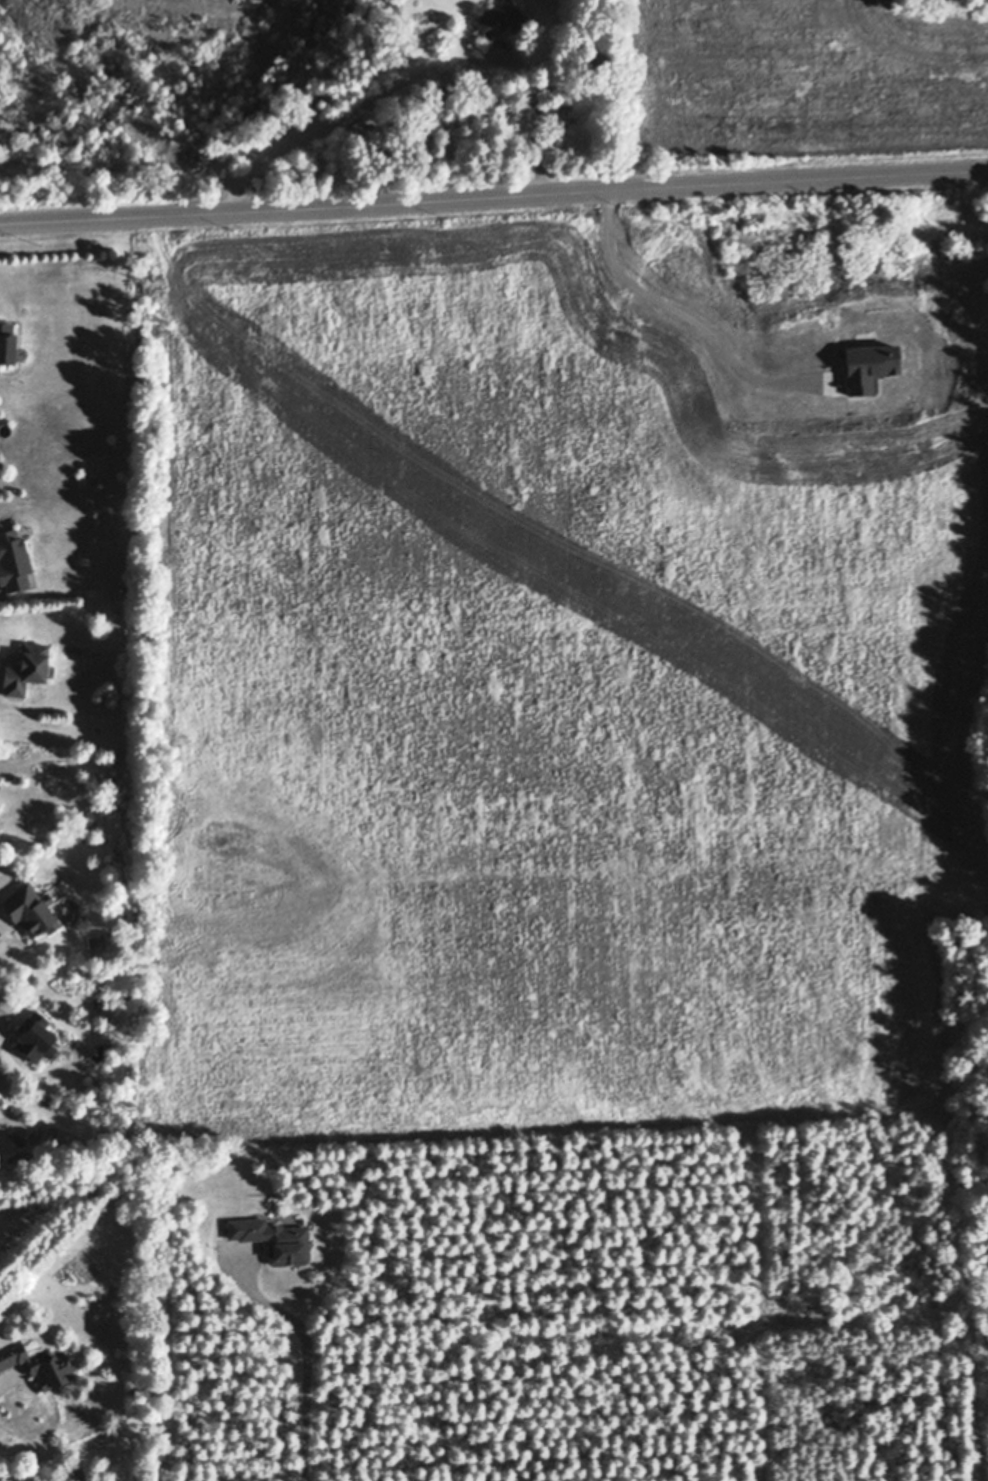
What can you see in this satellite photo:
building: (501, 17)
road: (423, 74)
building: (453, 89)
road: (493, 195)
road: (685, 314)
building: (7, 339)
building: (13, 559)
building: (26, 666)
road: (73, 748)
building: (31, 908)
building: (98, 1002)
building: (34, 1035)
building: (19, 1138)
building: (275, 1238)
road: (313, 1349)
building: (39, 1363)
road: (8, 1376)

